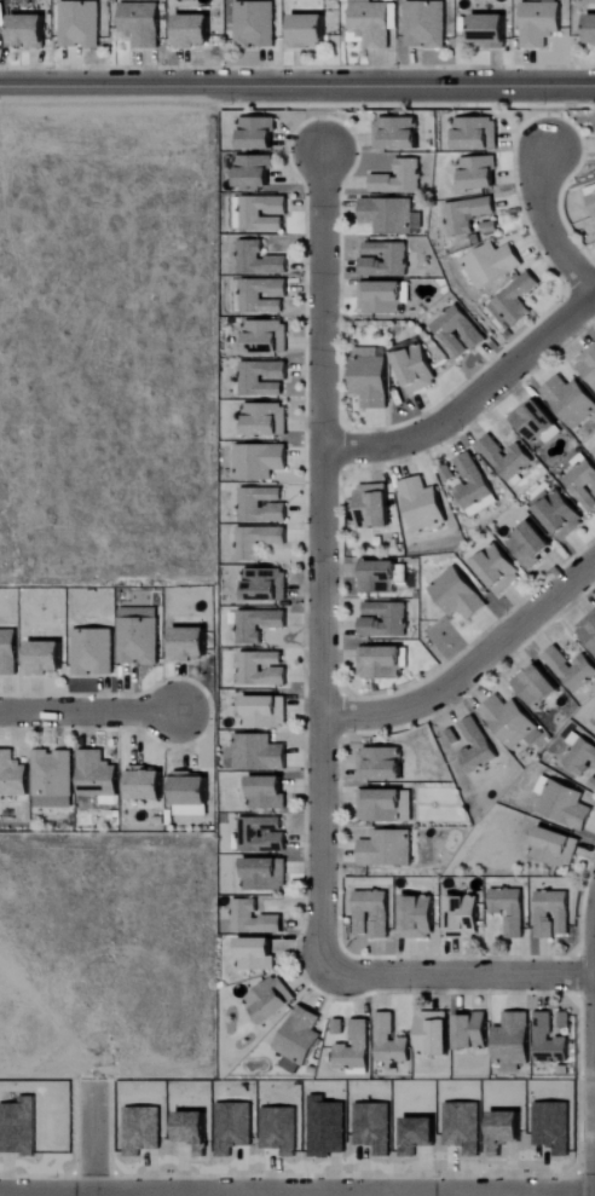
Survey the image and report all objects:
building: (372, 23)
building: (80, 24)
building: (141, 24)
building: (255, 24)
building: (541, 24)
building: (426, 25)
building: (310, 31)
building: (491, 31)
building: (591, 31)
building: (30, 33)
building: (193, 33)
road: (297, 86)
building: (259, 132)
building: (398, 133)
building: (476, 133)
building: (255, 171)
building: (480, 173)
building: (399, 179)
building: (593, 202)
building: (264, 213)
building: (467, 214)
building: (391, 215)
road: (545, 229)
building: (386, 259)
building: (259, 260)
building: (492, 264)
building: (262, 295)
building: (382, 296)
building: (515, 301)
building: (460, 331)
building: (267, 336)
building: (589, 363)
building: (418, 369)
building: (372, 377)
building: (264, 379)
building: (572, 400)
road: (470, 403)
building: (267, 420)
building: (537, 421)
building: (594, 450)
building: (507, 458)
building: (260, 461)
building: (583, 480)
building: (470, 485)
building: (262, 504)
building: (423, 504)
building: (374, 505)
building: (560, 513)
building: (259, 541)
building: (532, 544)
road: (320, 551)
building: (499, 568)
building: (381, 577)
building: (266, 584)
building: (460, 595)
building: (385, 619)
building: (256, 624)
building: (589, 630)
building: (139, 641)
building: (191, 643)
building: (7, 652)
building: (94, 652)
building: (47, 658)
building: (382, 663)
road: (470, 668)
building: (262, 669)
building: (571, 669)
building: (538, 687)
road: (88, 712)
building: (266, 712)
building: (512, 722)
building: (476, 746)
building: (259, 752)
building: (580, 756)
building: (382, 764)
building: (13, 775)
building: (98, 775)
building: (53, 779)
building: (148, 784)
building: (268, 792)
building: (191, 795)
building: (564, 803)
building: (381, 805)
building: (262, 834)
building: (556, 848)
building: (388, 849)
building: (265, 874)
building: (512, 911)
building: (372, 914)
building: (554, 914)
building: (420, 918)
building: (464, 918)
building: (254, 919)
building: (258, 955)
road: (452, 978)
building: (271, 1000)
building: (565, 1021)
building: (474, 1032)
building: (435, 1033)
building: (299, 1040)
building: (391, 1041)
building: (514, 1041)
building: (549, 1041)
building: (356, 1047)
building: (192, 1128)
road: (93, 1142)
road: (296, 1194)

